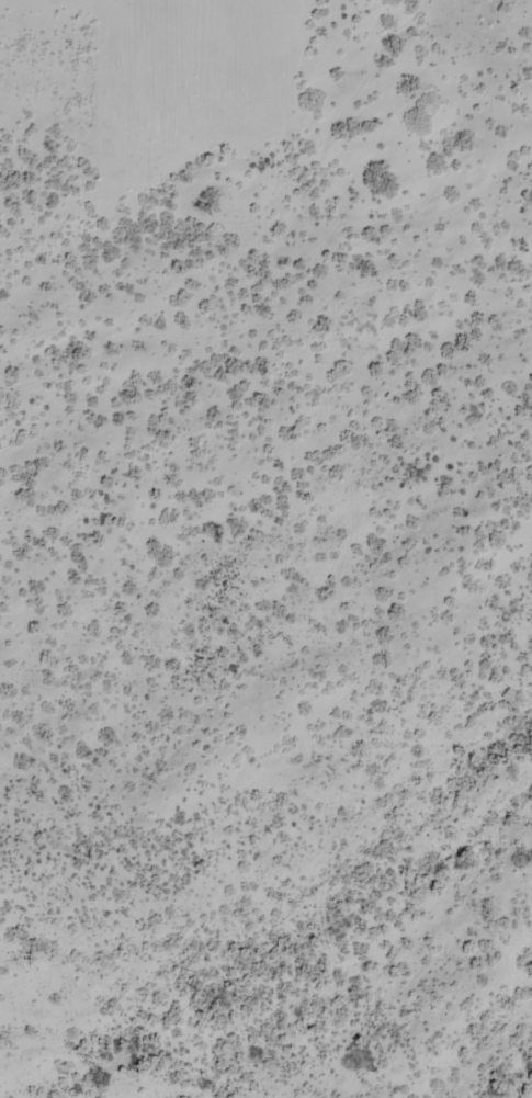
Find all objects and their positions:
road: (287, 67)

